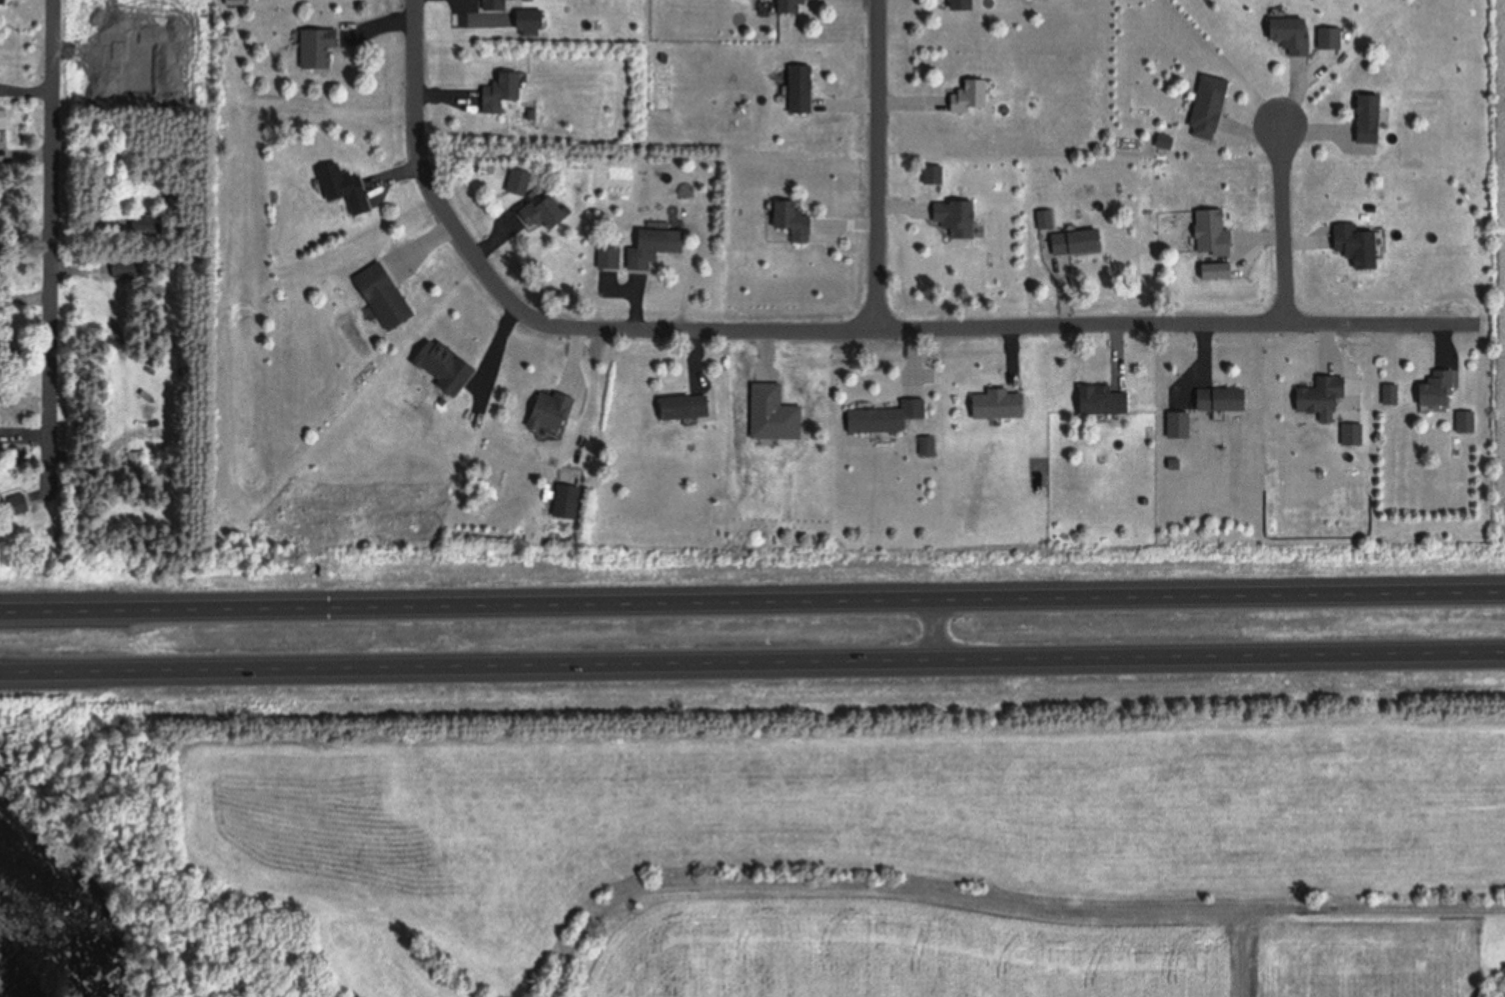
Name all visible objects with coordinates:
building: (3, 1)
building: (497, 5)
building: (963, 5)
building: (791, 6)
building: (1287, 33)
building: (1327, 38)
building: (320, 48)
building: (510, 86)
building: (802, 88)
road: (25, 91)
building: (974, 95)
building: (1203, 106)
building: (1364, 114)
building: (6, 119)
road: (873, 166)
road: (428, 172)
building: (346, 190)
building: (546, 212)
building: (953, 212)
building: (794, 221)
road: (1284, 221)
building: (1208, 232)
building: (1073, 242)
building: (1353, 246)
road: (50, 247)
building: (657, 247)
building: (609, 257)
crop: (1498, 289)
building: (387, 296)
road: (1000, 327)
building: (446, 365)
building: (1432, 391)
building: (1387, 395)
building: (1318, 397)
building: (1217, 399)
building: (1098, 400)
building: (998, 405)
building: (687, 407)
building: (550, 413)
building: (886, 418)
building: (16, 507)
road: (752, 599)
road: (752, 660)

